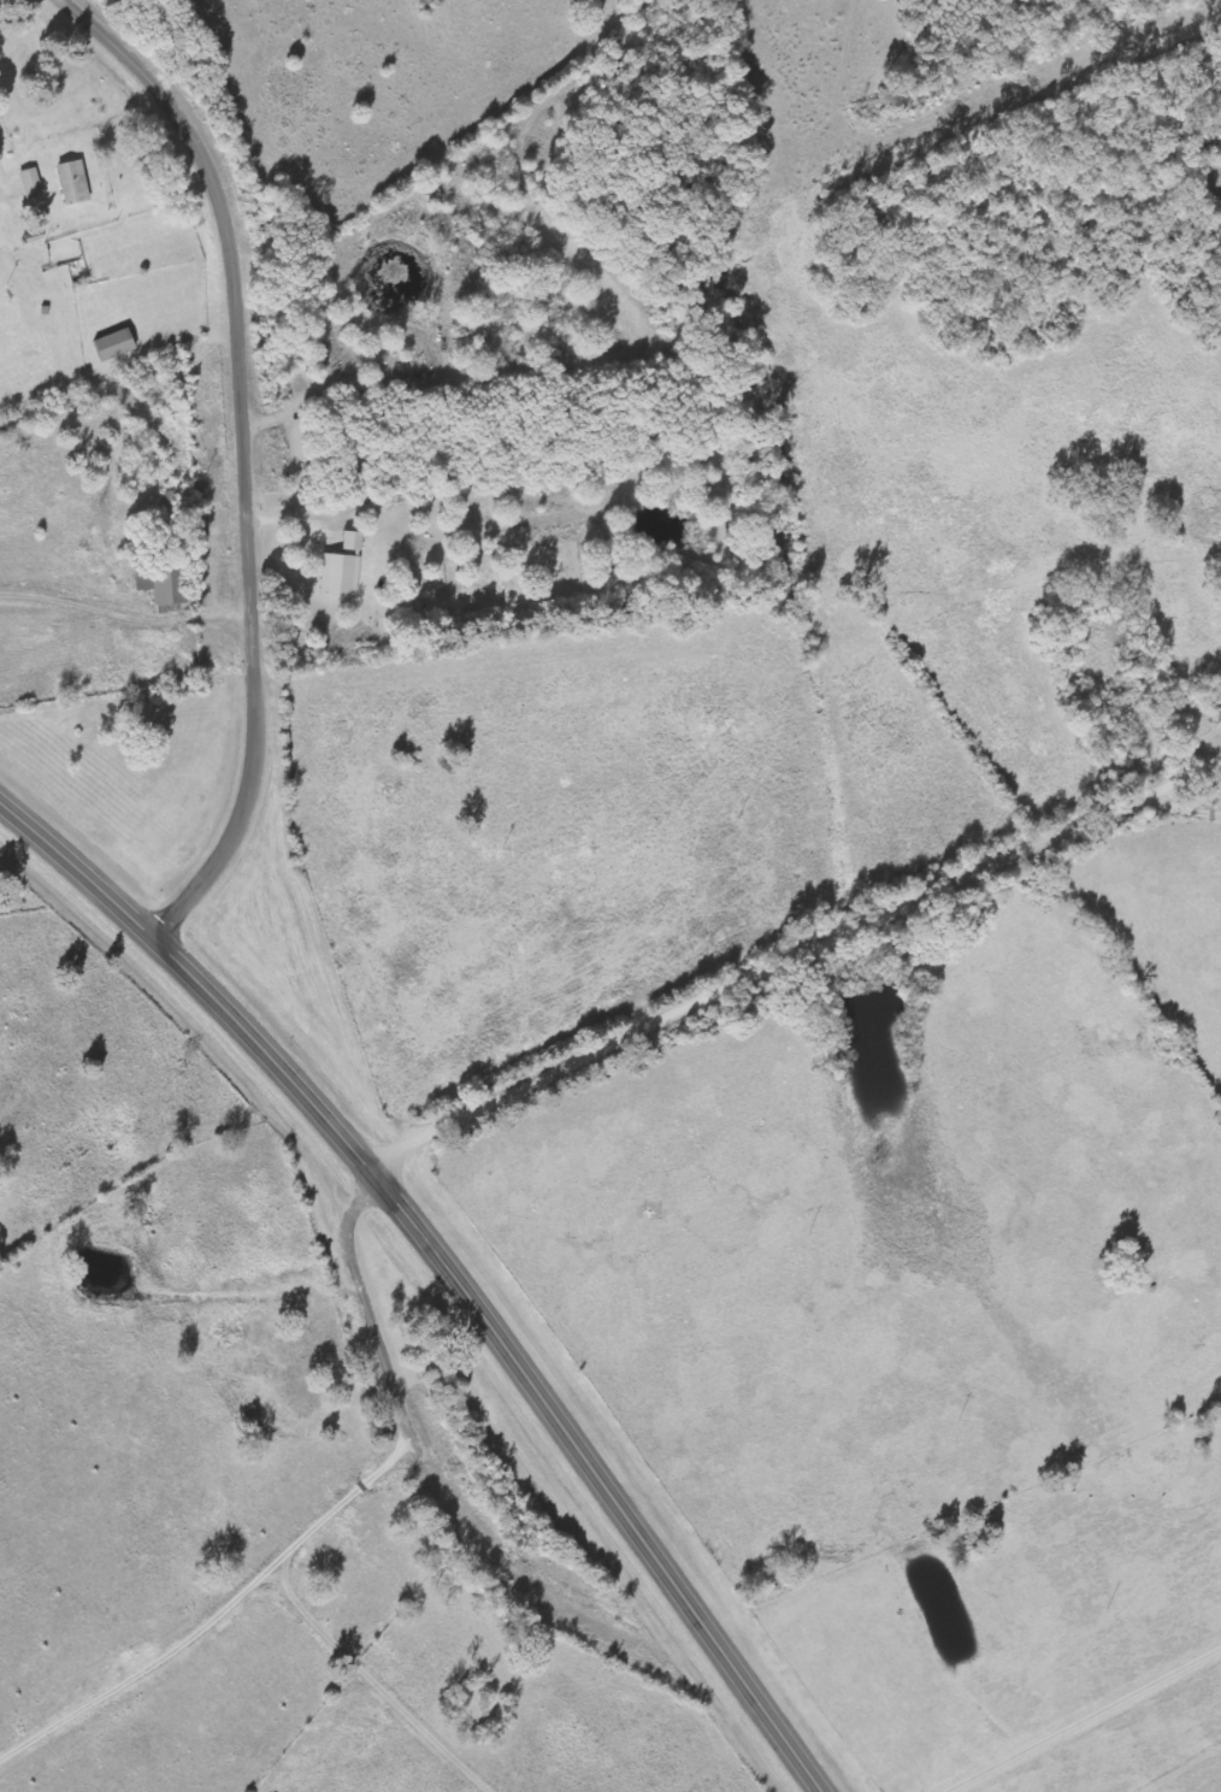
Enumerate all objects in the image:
road: (66, 5)
building: (72, 183)
building: (30, 184)
building: (113, 346)
road: (242, 452)
building: (341, 567)
building: (170, 584)
road: (1173, 778)
road: (1173, 806)
road: (745, 975)
road: (449, 1262)
park: (423, 1331)
road: (405, 1423)

